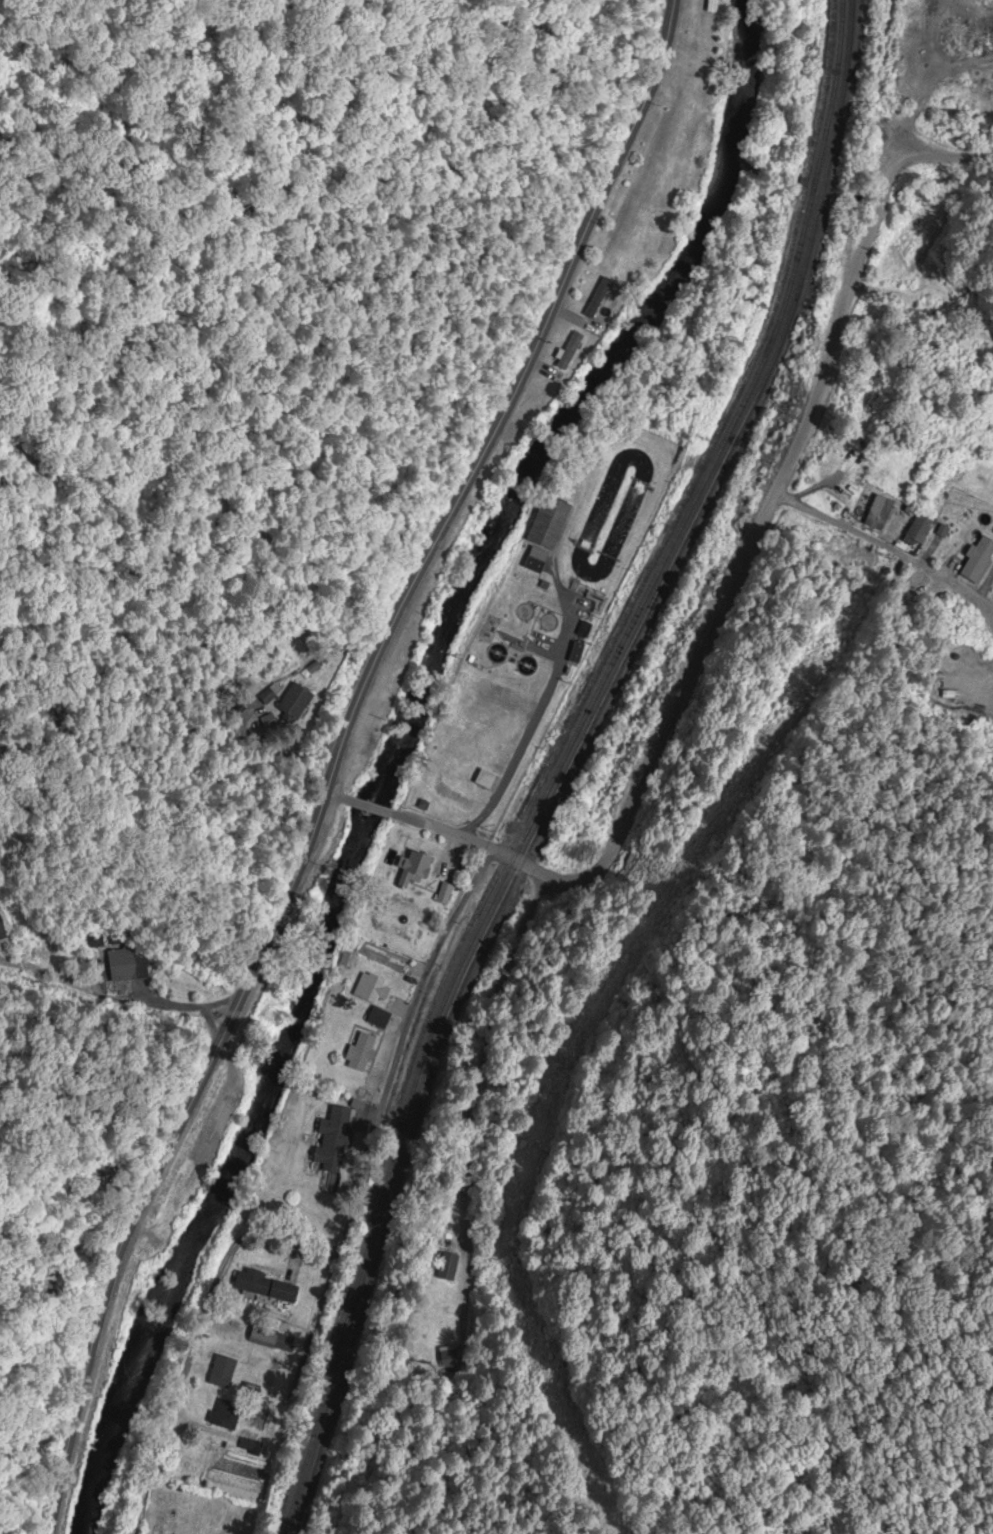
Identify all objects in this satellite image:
road: (852, 283)
building: (880, 513)
building: (549, 523)
building: (919, 528)
road: (887, 552)
building: (978, 557)
building: (268, 694)
building: (296, 700)
road: (536, 705)
river: (402, 754)
road: (345, 762)
railway: (562, 764)
road: (640, 775)
road: (342, 800)
road: (374, 810)
building: (415, 867)
building: (465, 867)
building: (444, 895)
building: (2, 929)
building: (351, 963)
building: (124, 964)
building: (370, 989)
building: (378, 1017)
road: (488, 1046)
building: (360, 1051)
building: (334, 1140)
road: (341, 1237)
building: (447, 1268)
building: (264, 1284)
building: (446, 1329)
building: (223, 1373)
building: (225, 1415)
building: (250, 1447)

